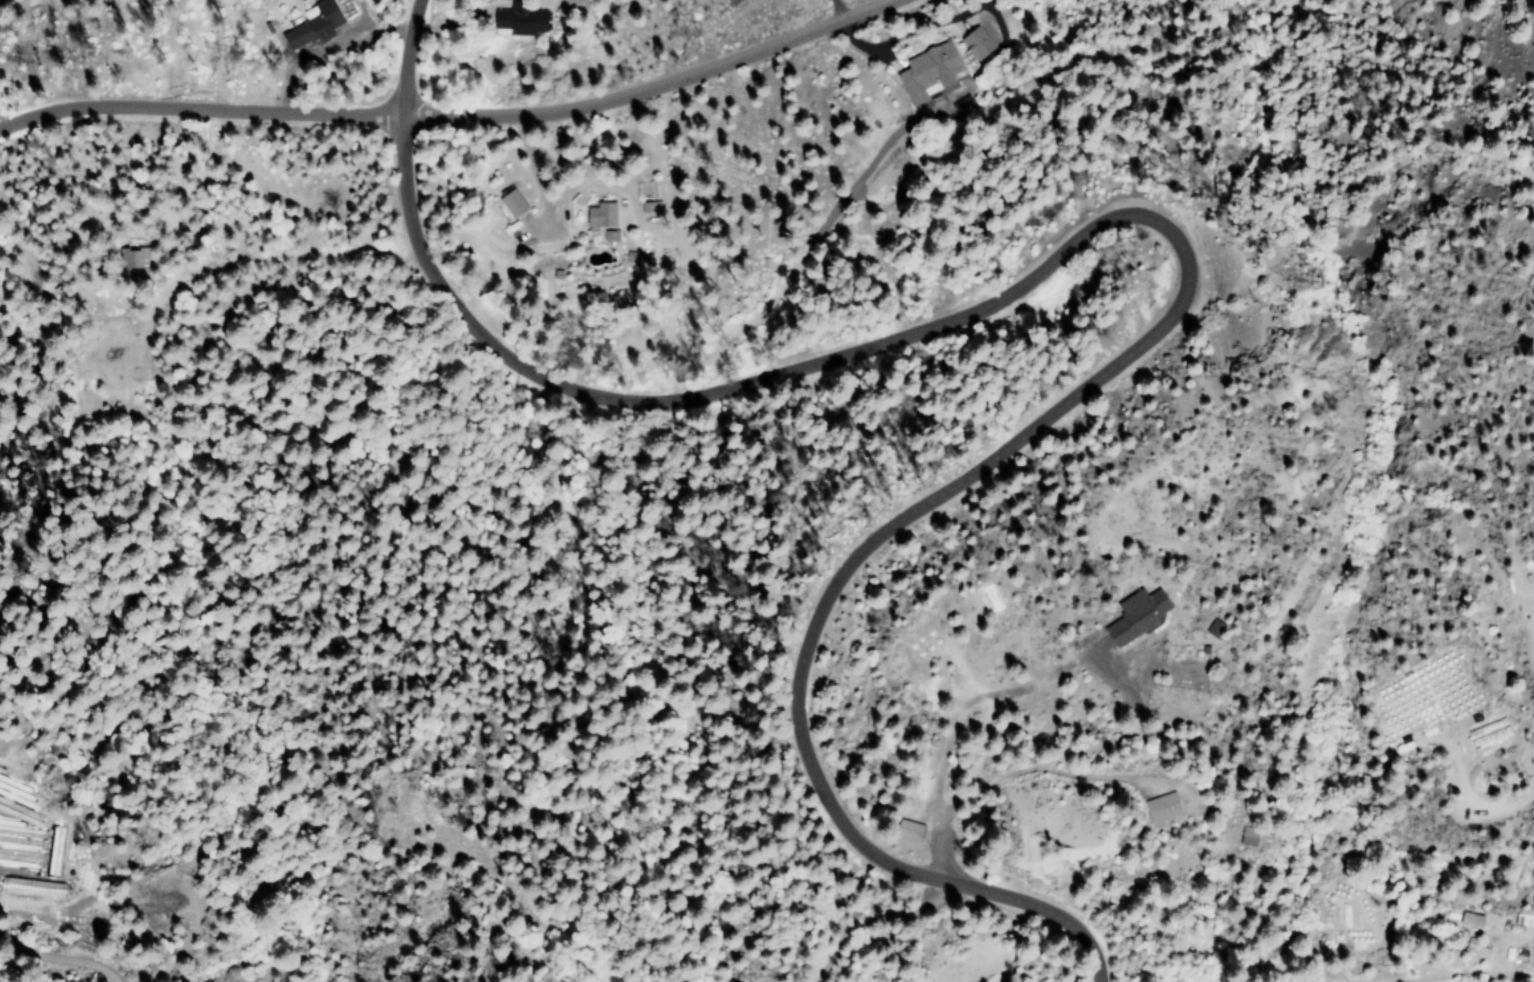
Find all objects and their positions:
building: (517, 21)
building: (309, 25)
building: (975, 43)
road: (403, 57)
building: (926, 70)
road: (647, 88)
road: (196, 109)
building: (510, 202)
road: (1138, 215)
building: (601, 220)
building: (138, 258)
building: (1132, 616)
road: (975, 698)
building: (1159, 807)
building: (903, 830)
building: (25, 848)
building: (34, 886)
road: (1048, 912)
road: (879, 921)
road: (35, 954)

